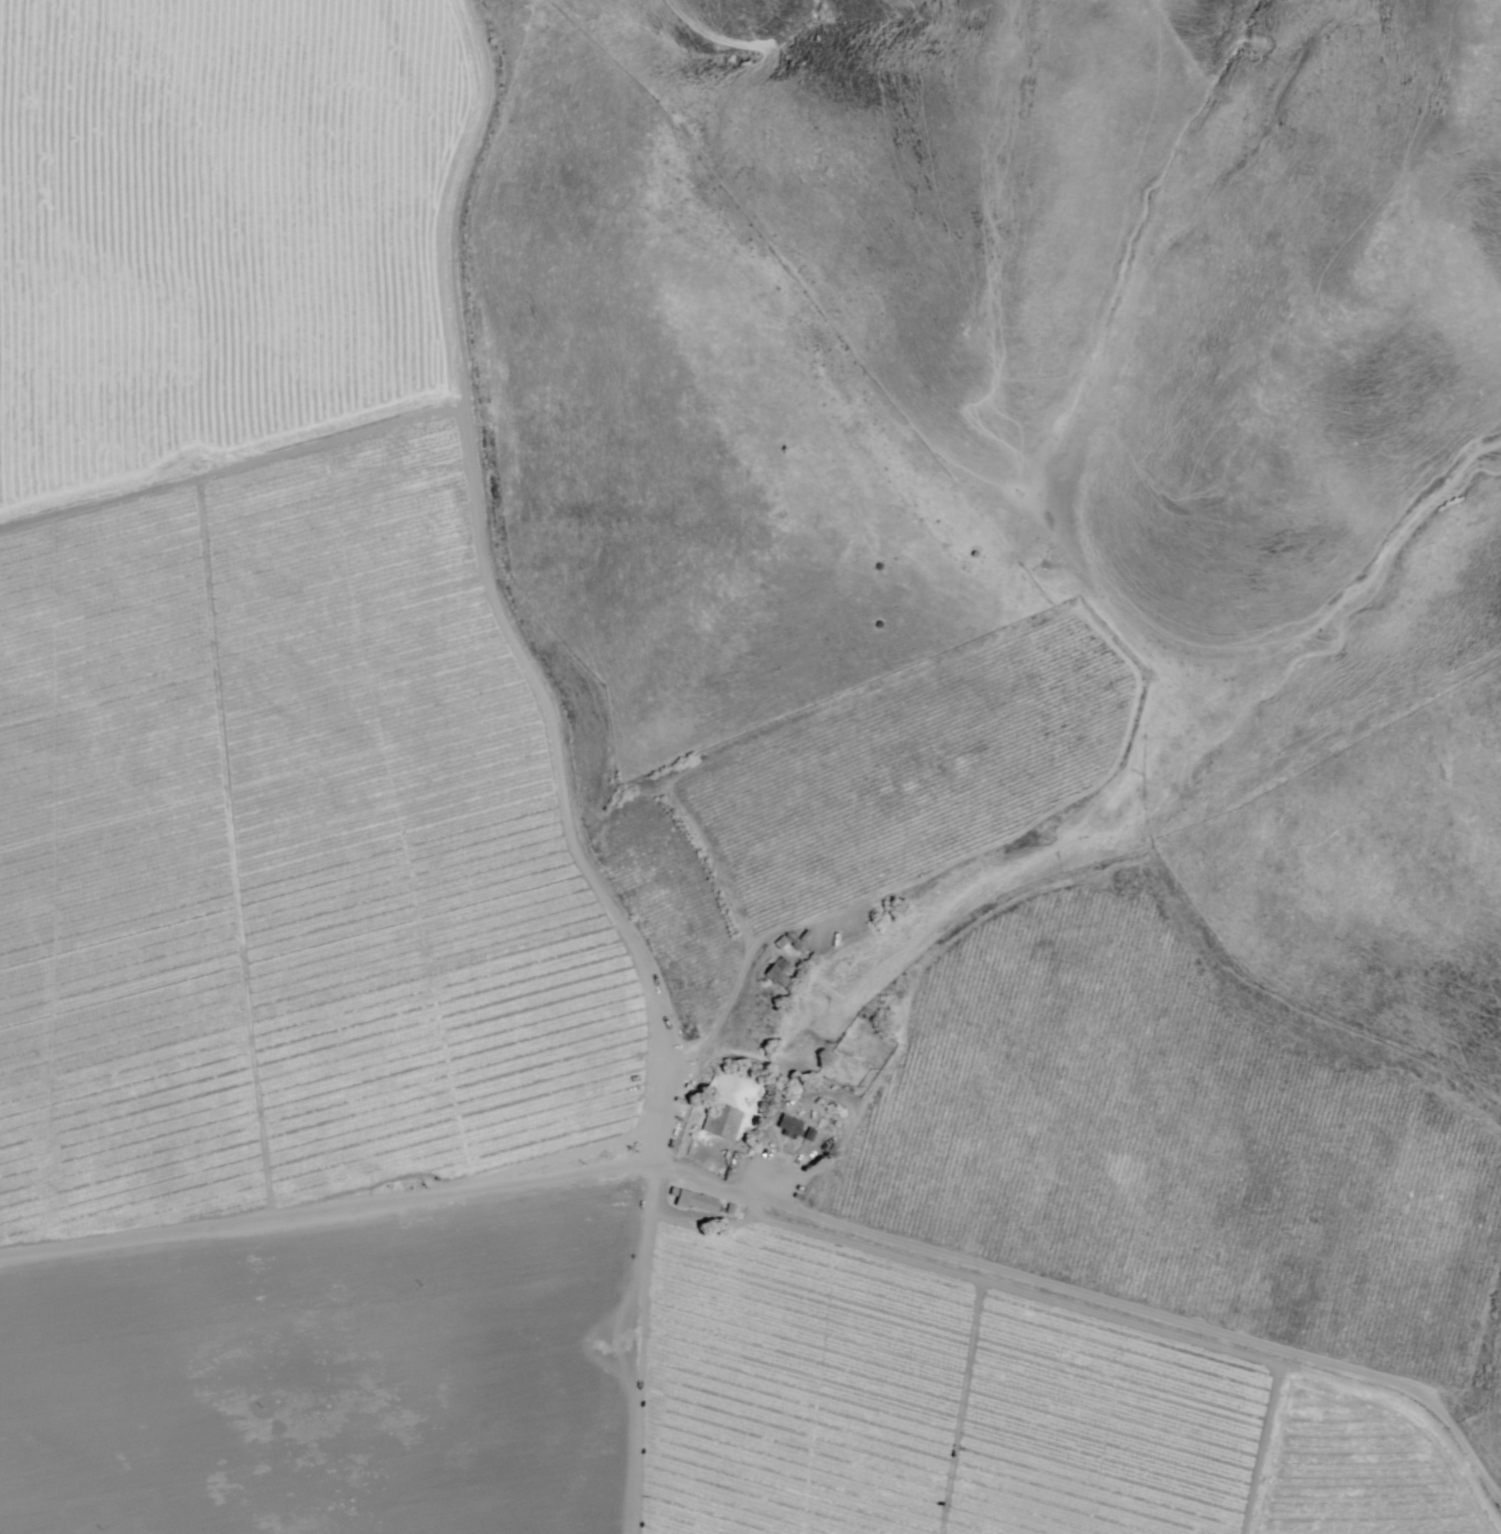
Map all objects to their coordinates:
crop: (591, 954)
building: (720, 1123)
building: (694, 1199)
road: (784, 1211)

